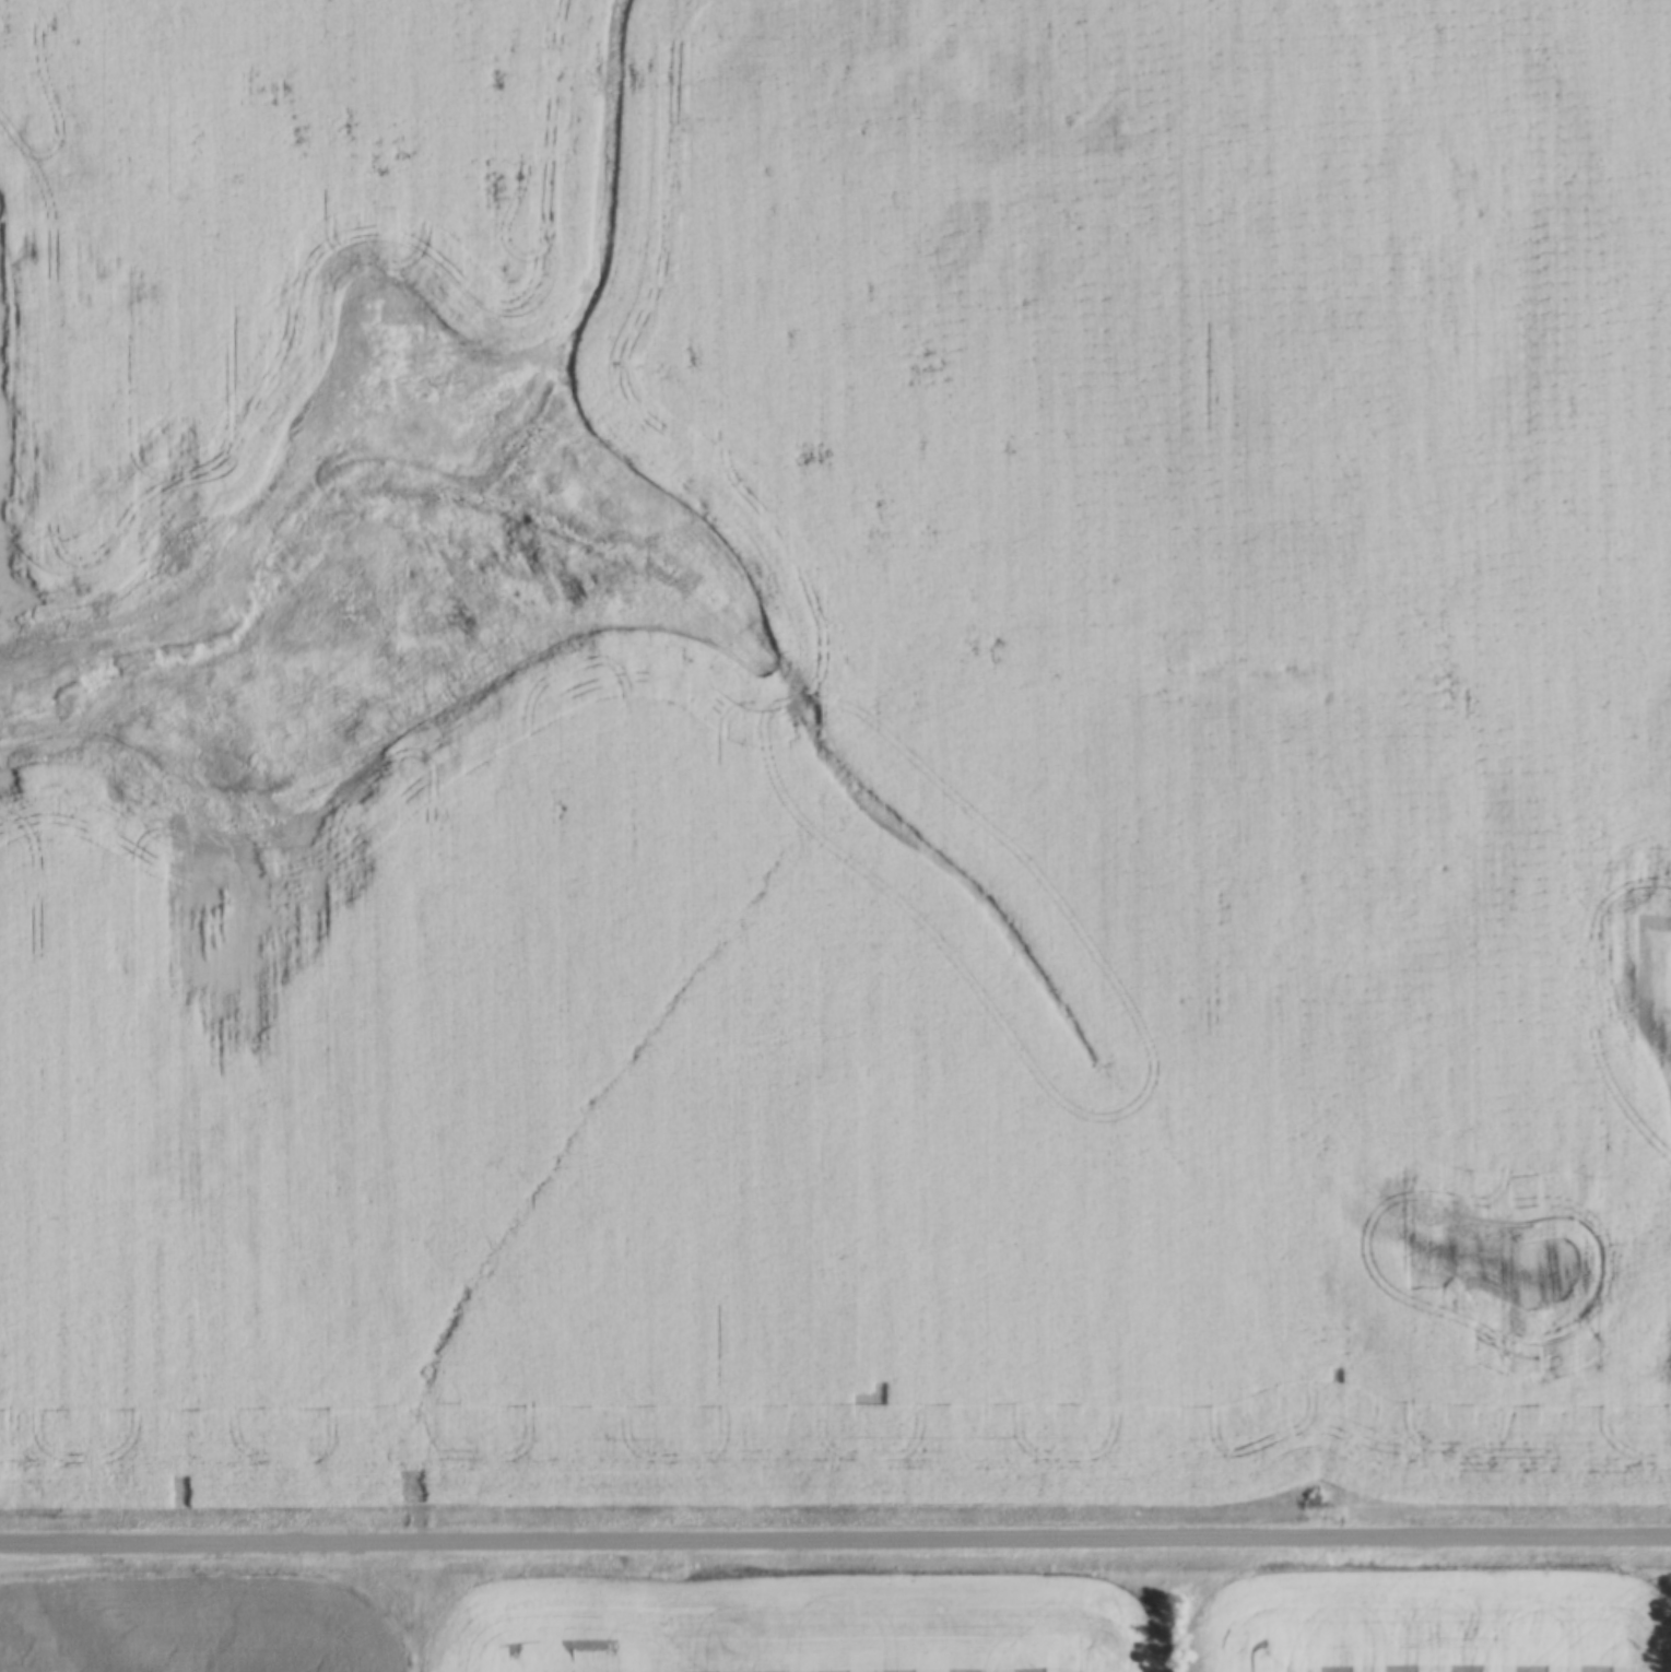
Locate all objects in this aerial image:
road: (835, 1546)

